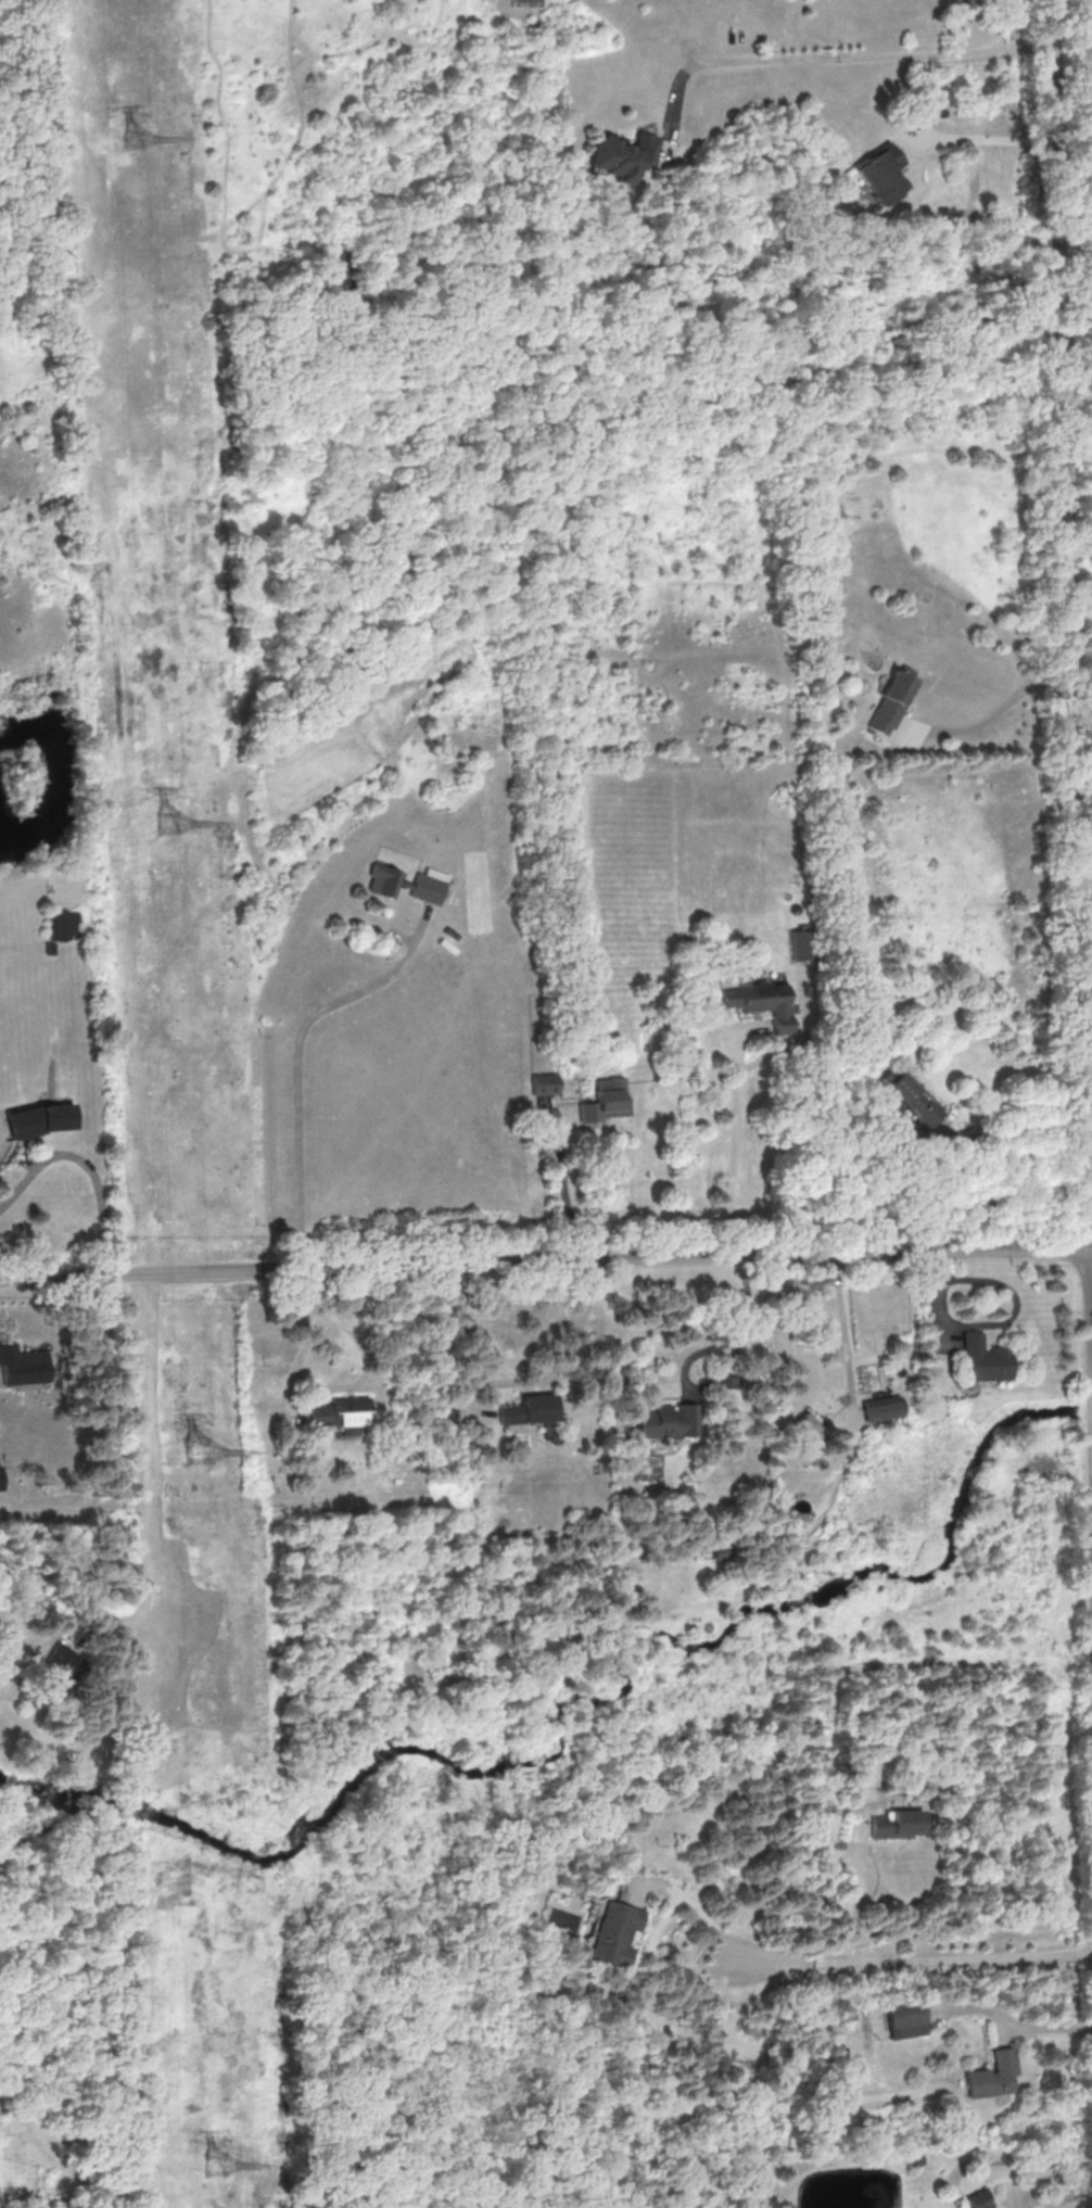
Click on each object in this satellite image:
road: (839, 53)
power tower: (139, 143)
road: (978, 143)
building: (620, 155)
building: (879, 173)
road: (1071, 697)
building: (892, 701)
road: (993, 719)
power tower: (173, 823)
building: (408, 883)
building: (65, 924)
building: (50, 948)
road: (1085, 952)
road: (1085, 991)
building: (759, 997)
road: (304, 1061)
building: (544, 1083)
building: (604, 1101)
building: (910, 1102)
building: (40, 1119)
road: (1013, 1133)
road: (733, 1144)
road: (88, 1166)
road: (564, 1195)
road: (545, 1266)
road: (839, 1324)
building: (982, 1359)
building: (23, 1367)
road: (513, 1375)
road: (721, 1375)
building: (878, 1408)
building: (529, 1409)
building: (342, 1413)
building: (669, 1421)
building: (803, 1437)
road: (144, 1448)
power tower: (198, 1454)
building: (1, 1477)
building: (896, 1824)
building: (718, 1874)
road: (859, 1903)
building: (614, 1933)
road: (905, 1959)
building: (906, 2018)
building: (993, 2074)
power tower: (216, 2165)
road: (1038, 2177)
building: (978, 2199)
building: (993, 2207)

